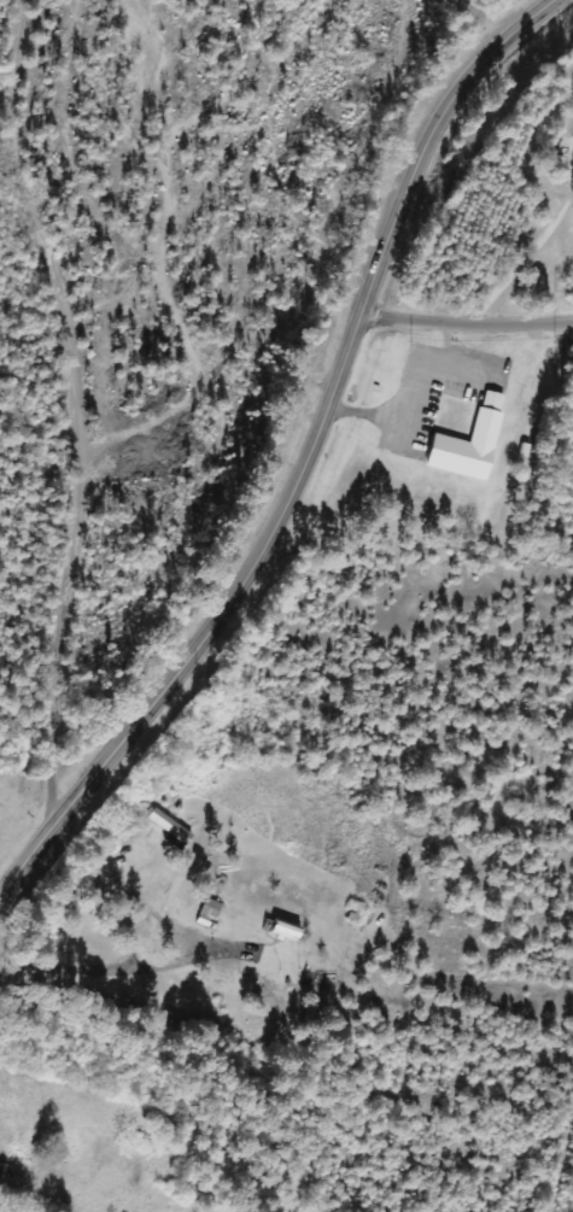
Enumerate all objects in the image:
road: (183, 320)
road: (464, 321)
road: (80, 405)
building: (474, 443)
road: (302, 457)
building: (291, 932)
road: (286, 1002)
building: (5, 1175)

